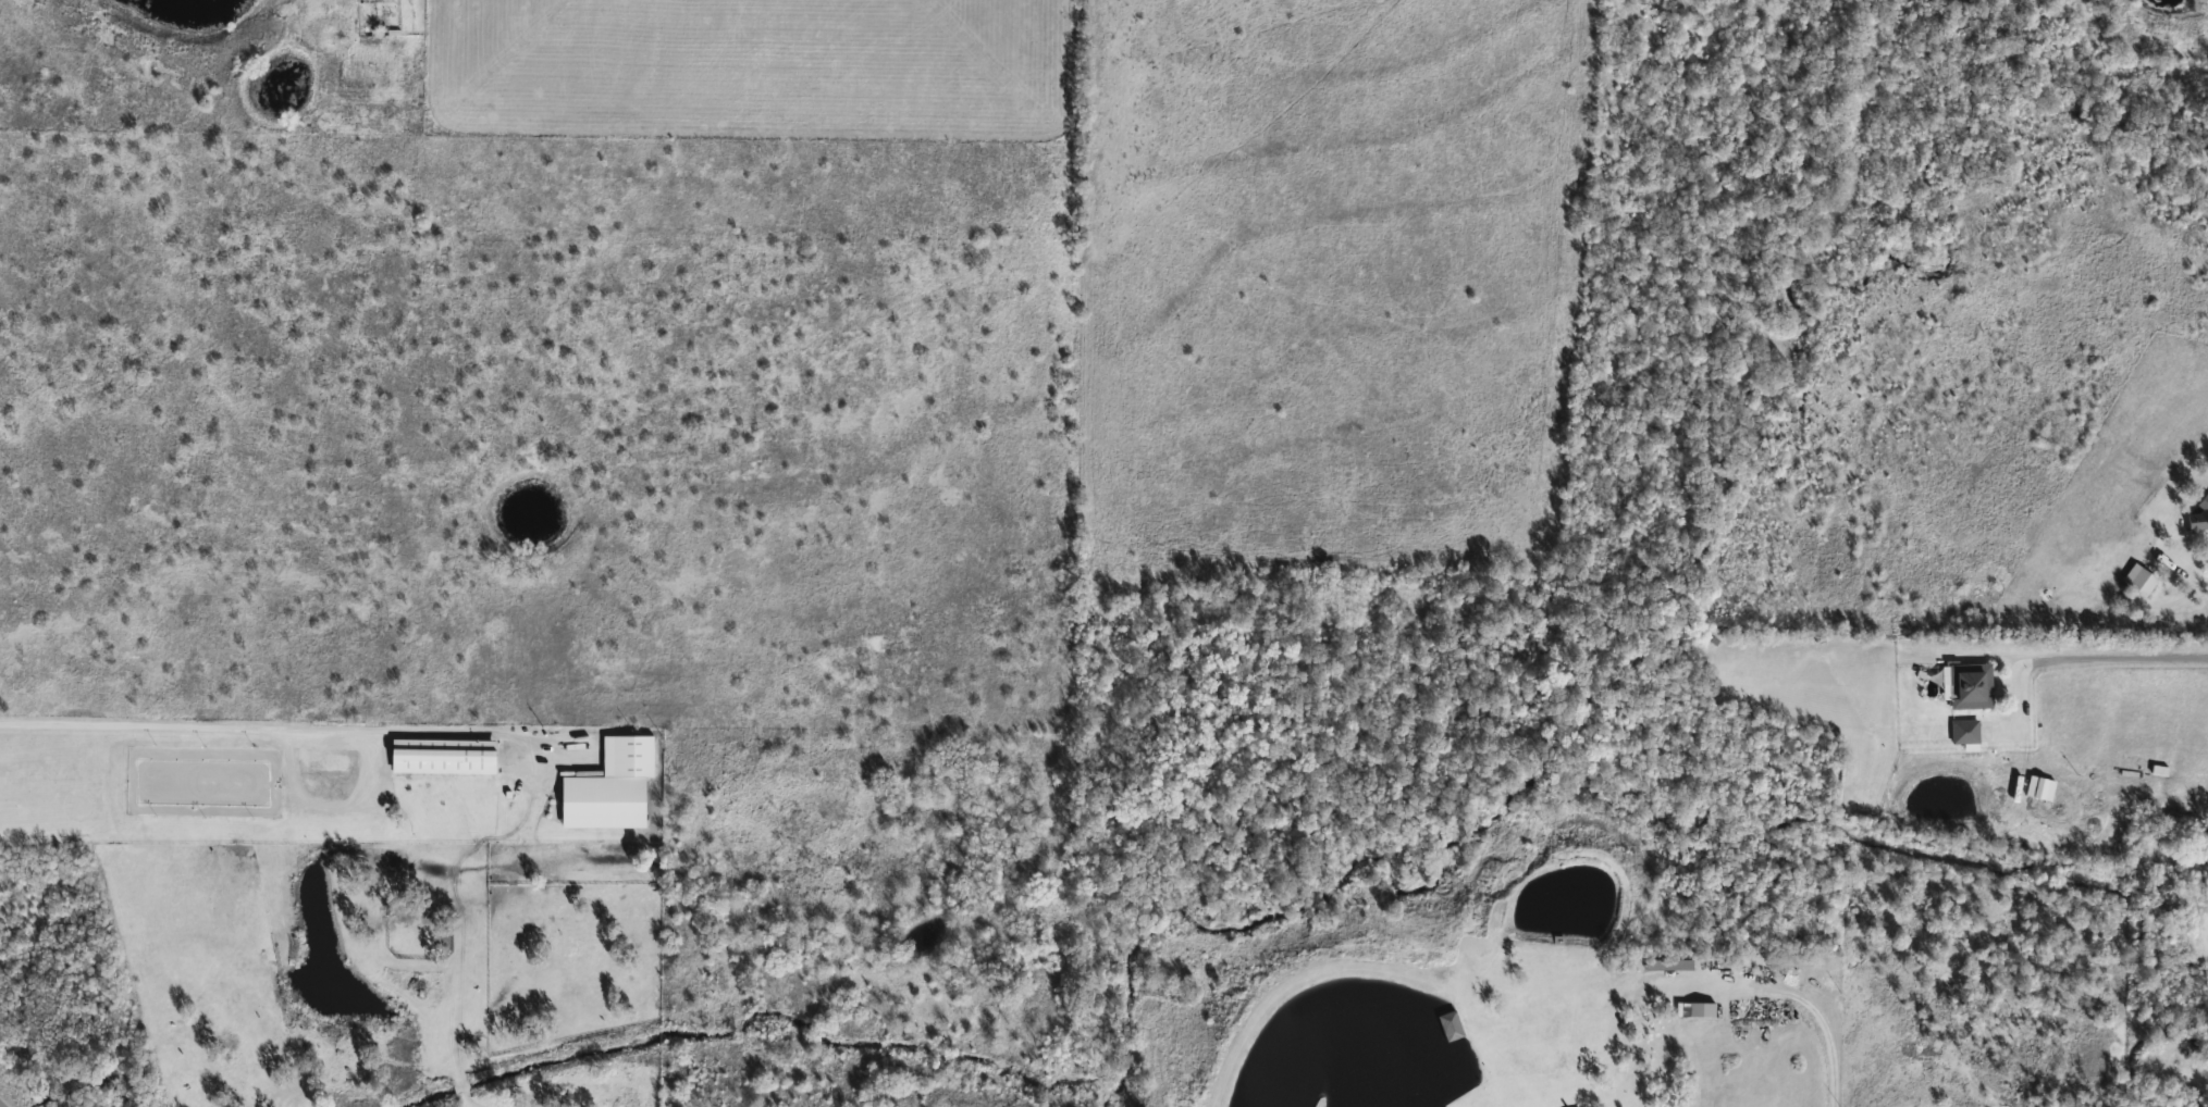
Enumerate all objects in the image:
building: (2198, 513)
building: (2138, 579)
road: (2087, 656)
building: (1969, 684)
road: (277, 727)
building: (1963, 731)
building: (2160, 755)
road: (1802, 1003)
building: (1700, 1008)
building: (1450, 1025)
road: (3, 1103)

